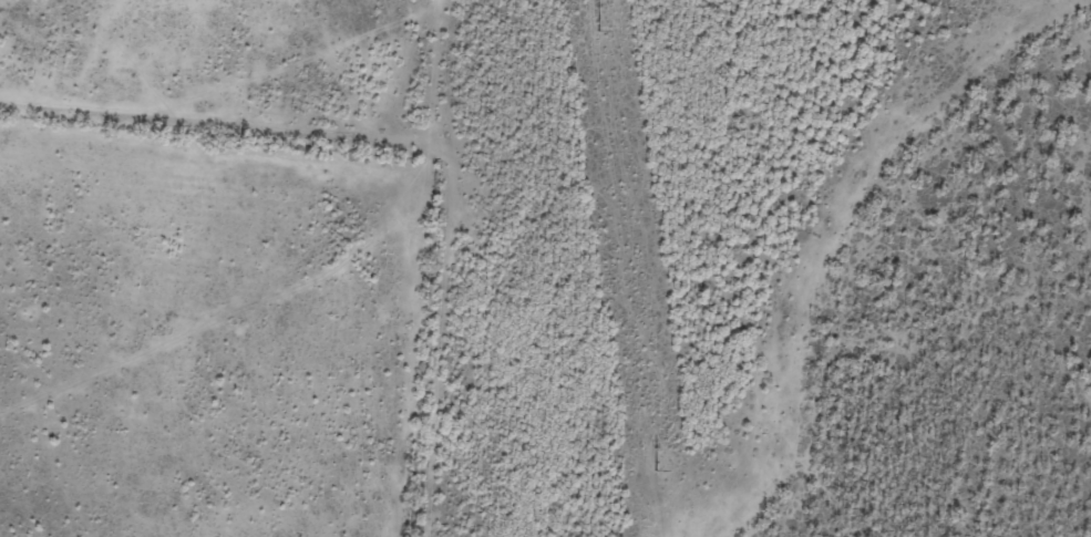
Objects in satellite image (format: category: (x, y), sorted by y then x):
power tower: (598, 31)
road: (258, 113)
power tower: (657, 471)

